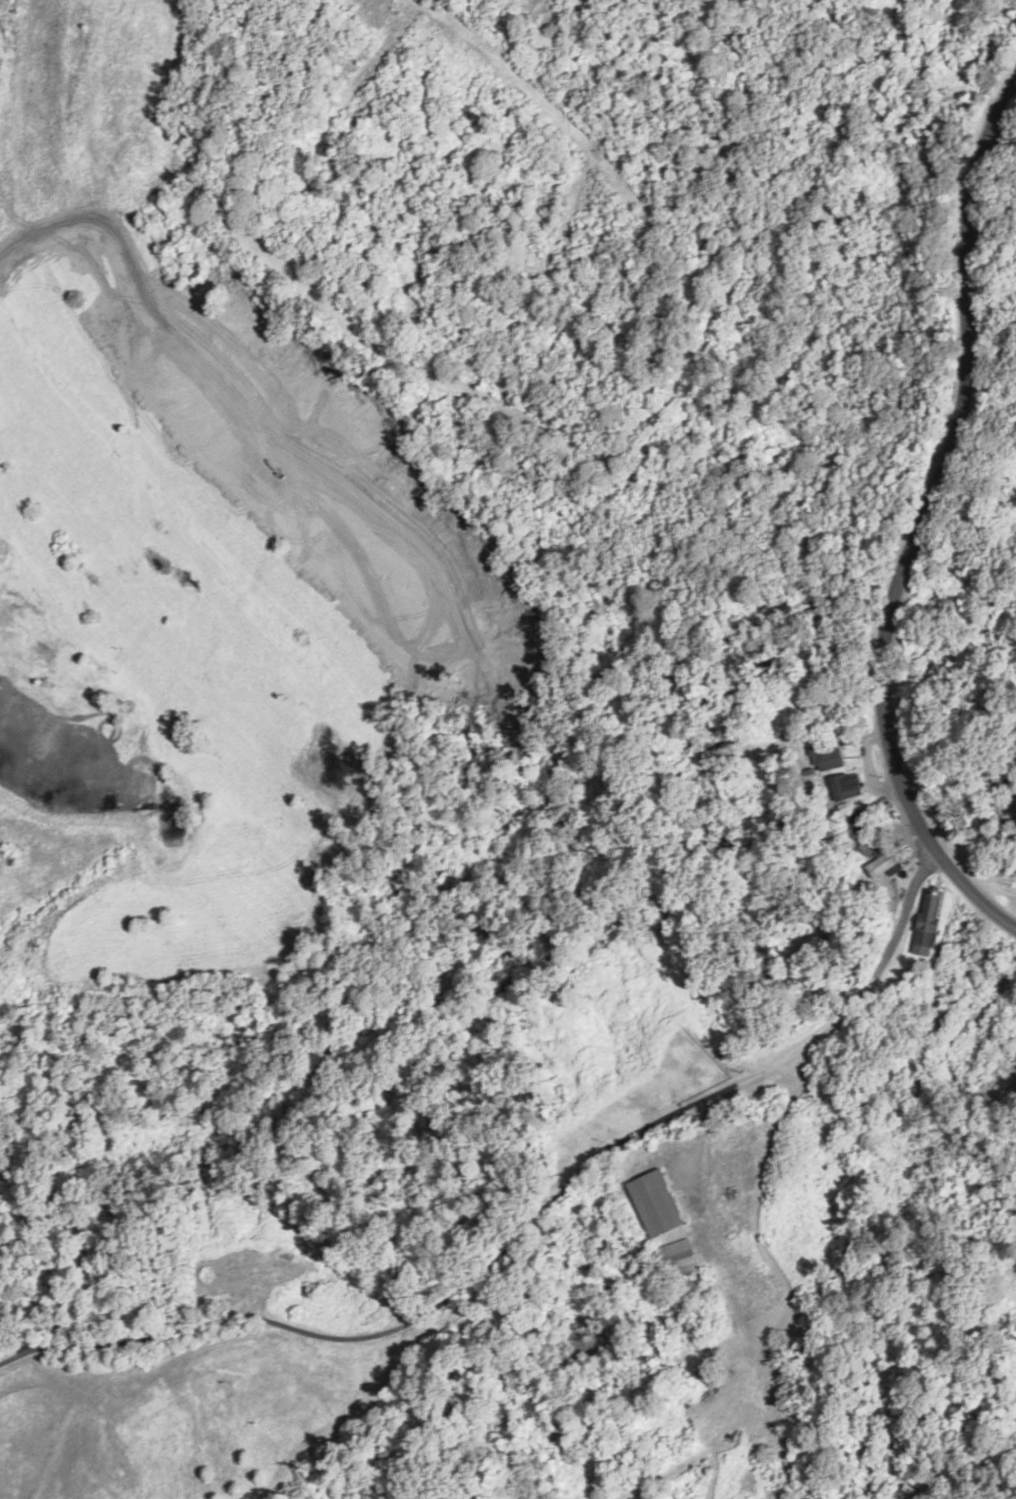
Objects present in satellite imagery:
road: (937, 472)
building: (830, 757)
building: (848, 786)
building: (864, 820)
building: (872, 844)
building: (886, 866)
road: (975, 894)
building: (934, 917)
building: (997, 990)
building: (658, 1204)
road: (525, 1229)
road: (713, 1245)
building: (683, 1259)
building: (796, 1348)

